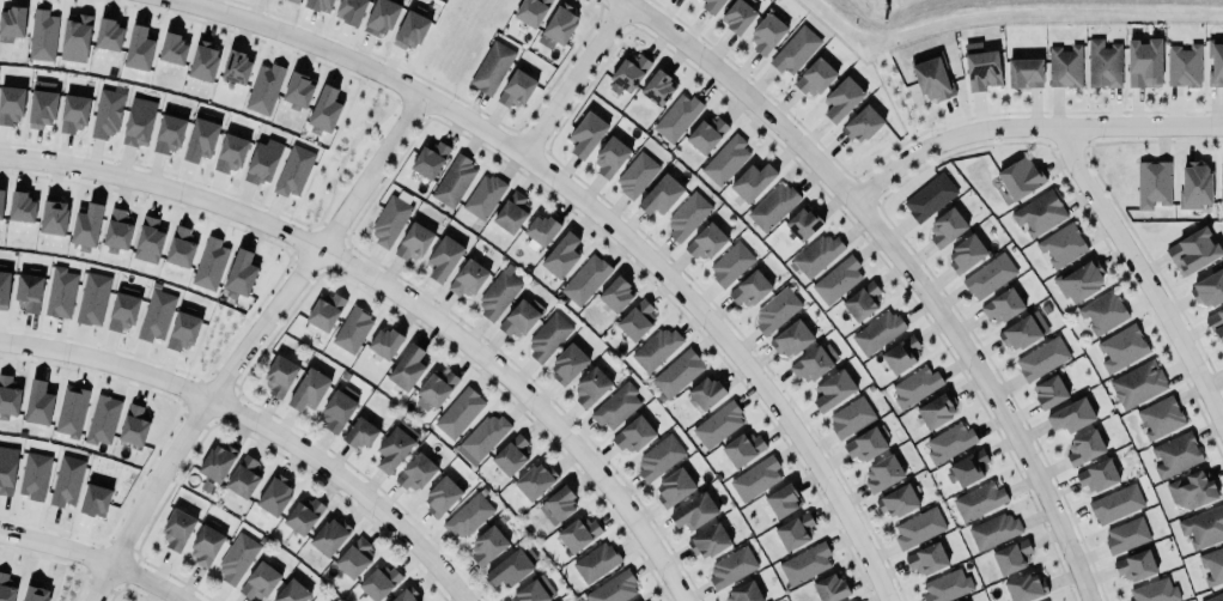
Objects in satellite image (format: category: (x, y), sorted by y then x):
building: (297, 0)
building: (292, 1)
building: (316, 4)
building: (708, 5)
building: (349, 11)
building: (533, 12)
building: (379, 16)
building: (736, 16)
building: (12, 17)
building: (560, 24)
building: (410, 31)
building: (42, 34)
building: (108, 35)
building: (766, 35)
building: (75, 38)
building: (138, 44)
building: (172, 49)
building: (795, 51)
building: (203, 61)
building: (1213, 61)
building: (1102, 63)
building: (1142, 63)
building: (235, 65)
building: (1063, 66)
building: (1181, 66)
building: (489, 67)
building: (980, 69)
building: (627, 72)
building: (1022, 73)
building: (929, 75)
building: (813, 77)
road: (574, 79)
building: (656, 85)
building: (263, 89)
building: (517, 89)
building: (298, 91)
building: (841, 99)
building: (10, 103)
building: (39, 104)
building: (324, 110)
building: (105, 111)
building: (72, 113)
building: (675, 116)
building: (138, 120)
building: (860, 123)
road: (1026, 128)
building: (169, 134)
building: (584, 134)
building: (706, 135)
building: (201, 140)
building: (231, 153)
building: (609, 157)
building: (430, 160)
building: (725, 160)
building: (262, 162)
building: (292, 170)
building: (635, 175)
building: (1020, 177)
building: (750, 180)
building: (454, 182)
building: (1152, 184)
building: (1221, 186)
building: (1192, 187)
building: (482, 194)
building: (658, 195)
building: (927, 196)
building: (1, 204)
building: (771, 206)
building: (19, 207)
building: (511, 212)
building: (1039, 213)
building: (687, 215)
building: (54, 217)
road: (602, 217)
building: (388, 219)
building: (85, 224)
building: (801, 224)
building: (944, 226)
building: (117, 230)
building: (540, 230)
building: (148, 241)
building: (414, 242)
building: (706, 243)
building: (1061, 245)
building: (181, 248)
building: (560, 251)
building: (1191, 251)
building: (963, 253)
building: (443, 254)
building: (816, 255)
building: (208, 263)
road: (902, 263)
building: (730, 265)
building: (239, 275)
building: (987, 275)
building: (468, 279)
building: (584, 279)
road: (1138, 279)
building: (836, 280)
building: (1081, 281)
building: (4, 286)
building: (750, 290)
building: (1207, 290)
building: (29, 292)
building: (60, 293)
road: (397, 293)
building: (495, 293)
building: (616, 295)
building: (91, 298)
building: (863, 302)
building: (1000, 305)
building: (323, 308)
building: (123, 310)
building: (774, 310)
building: (1102, 312)
building: (154, 314)
building: (517, 317)
building: (637, 320)
building: (1216, 324)
building: (352, 327)
building: (180, 332)
building: (876, 332)
building: (1023, 332)
building: (547, 334)
building: (385, 339)
building: (791, 340)
road: (250, 342)
building: (655, 347)
building: (1120, 347)
building: (1222, 352)
building: (899, 354)
building: (1040, 358)
building: (813, 362)
building: (406, 364)
building: (565, 364)
building: (676, 371)
building: (278, 376)
building: (1136, 383)
building: (915, 386)
building: (309, 387)
building: (589, 387)
building: (436, 388)
building: (706, 389)
building: (830, 390)
building: (1048, 393)
building: (8, 396)
building: (38, 403)
building: (616, 405)
building: (69, 409)
building: (457, 409)
building: (335, 411)
building: (936, 411)
building: (848, 417)
building: (1070, 417)
building: (1157, 417)
building: (103, 420)
building: (716, 421)
road: (258, 423)
building: (134, 424)
building: (634, 430)
building: (360, 433)
building: (481, 435)
building: (947, 442)
building: (864, 443)
building: (742, 448)
building: (1082, 448)
building: (391, 450)
building: (510, 453)
building: (1175, 455)
building: (658, 457)
building: (213, 463)
building: (7, 469)
building: (967, 469)
building: (413, 472)
building: (881, 474)
building: (32, 476)
building: (754, 476)
building: (1097, 476)
building: (243, 478)
building: (535, 478)
building: (66, 481)
building: (675, 481)
building: (1186, 488)
building: (273, 492)
building: (439, 496)
building: (559, 499)
building: (780, 499)
building: (978, 499)
building: (95, 500)
building: (896, 502)
building: (1115, 504)
building: (302, 511)
building: (693, 512)
building: (467, 515)
building: (917, 527)
building: (1203, 527)
building: (176, 528)
building: (792, 528)
building: (576, 530)
building: (991, 530)
building: (328, 534)
building: (1126, 535)
building: (708, 542)
building: (485, 545)
building: (205, 546)
building: (352, 557)
building: (1011, 557)
road: (96, 558)
building: (236, 558)
building: (594, 559)
building: (925, 559)
building: (804, 563)
building: (1133, 565)
building: (1211, 565)
building: (731, 567)
building: (507, 569)
building: (258, 579)
building: (379, 581)
building: (611, 587)
building: (945, 587)
building: (6, 588)
building: (828, 588)
building: (1026, 588)
building: (291, 590)
building: (1152, 590)
building: (741, 591)
building: (530, 593)
building: (36, 594)
building: (403, 594)
building: (1213, 596)

